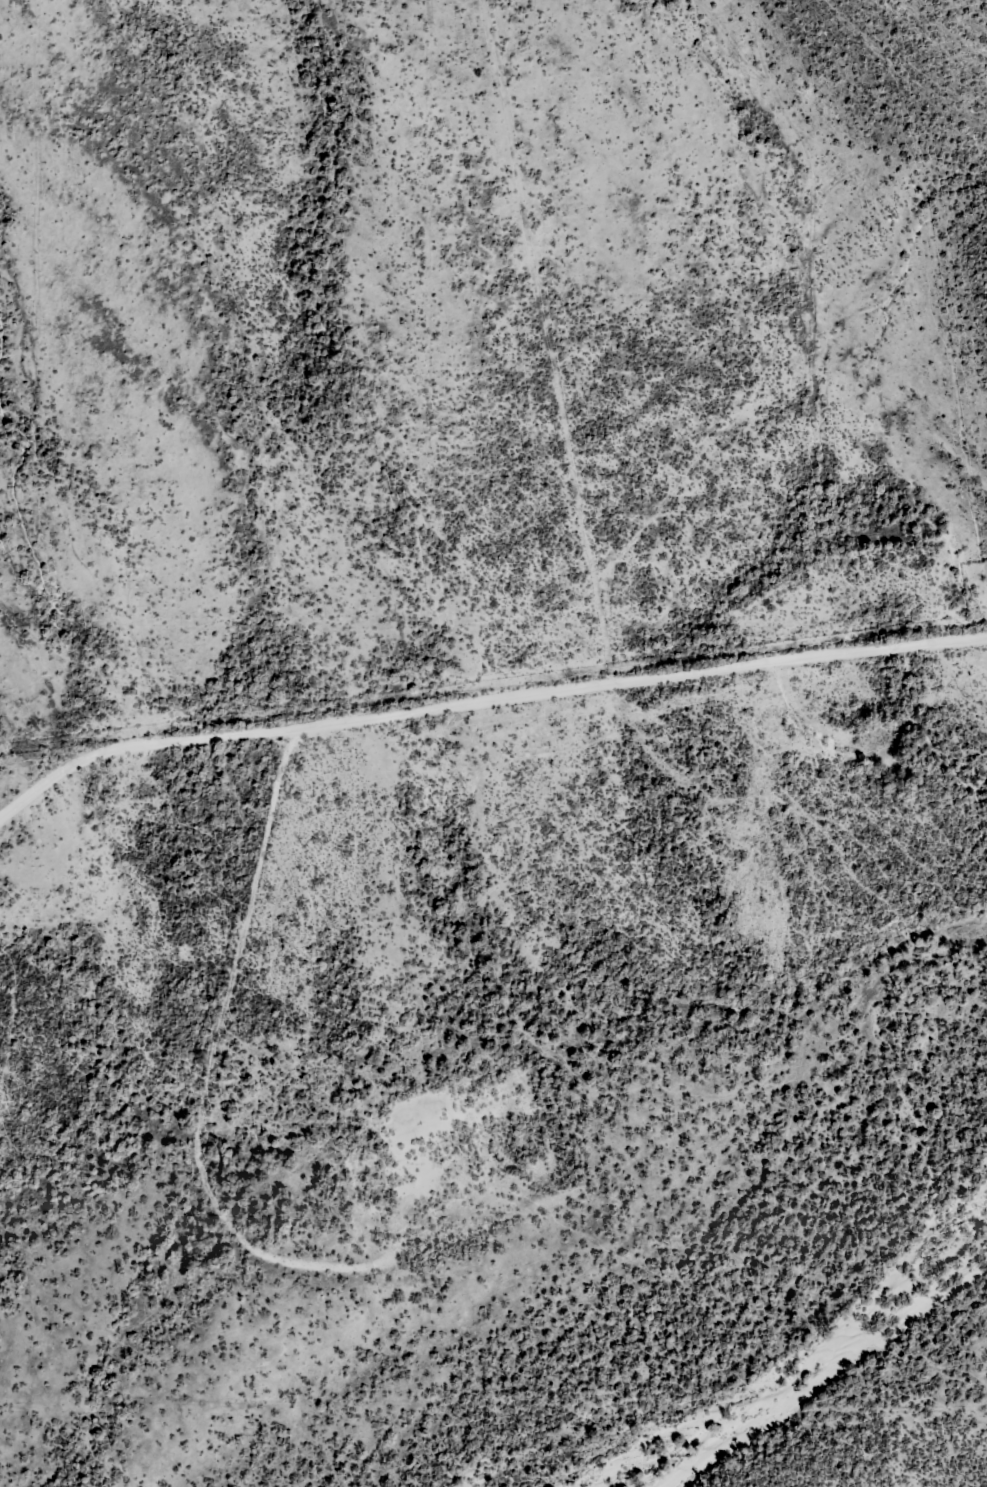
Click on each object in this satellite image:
road: (482, 689)

